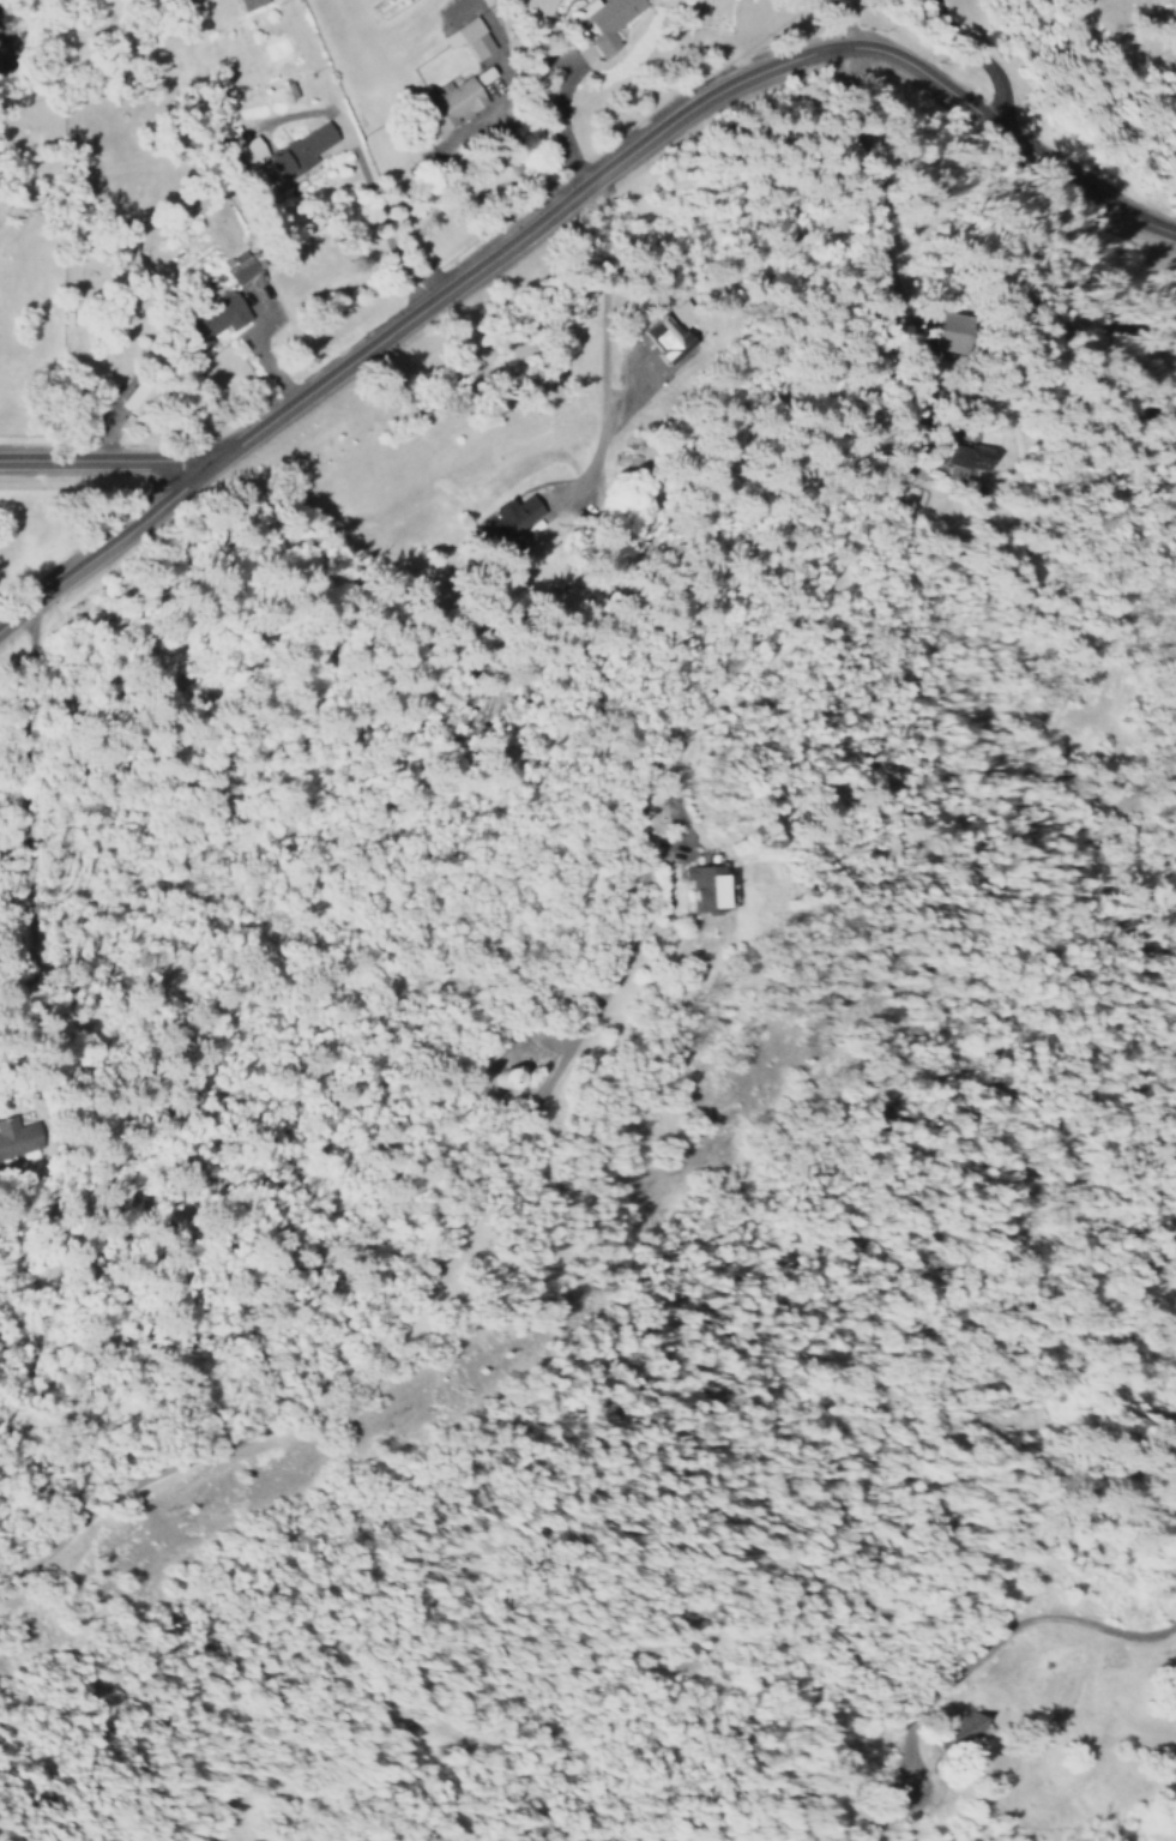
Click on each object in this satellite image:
building: (248, 4)
building: (605, 20)
building: (468, 37)
road: (972, 55)
building: (481, 76)
building: (451, 103)
road: (669, 120)
building: (298, 150)
building: (236, 267)
building: (213, 317)
building: (948, 331)
building: (133, 398)
road: (105, 459)
building: (948, 462)
building: (514, 516)
road: (103, 543)
building: (702, 886)
road: (632, 914)
building: (18, 1137)
building: (955, 1729)

